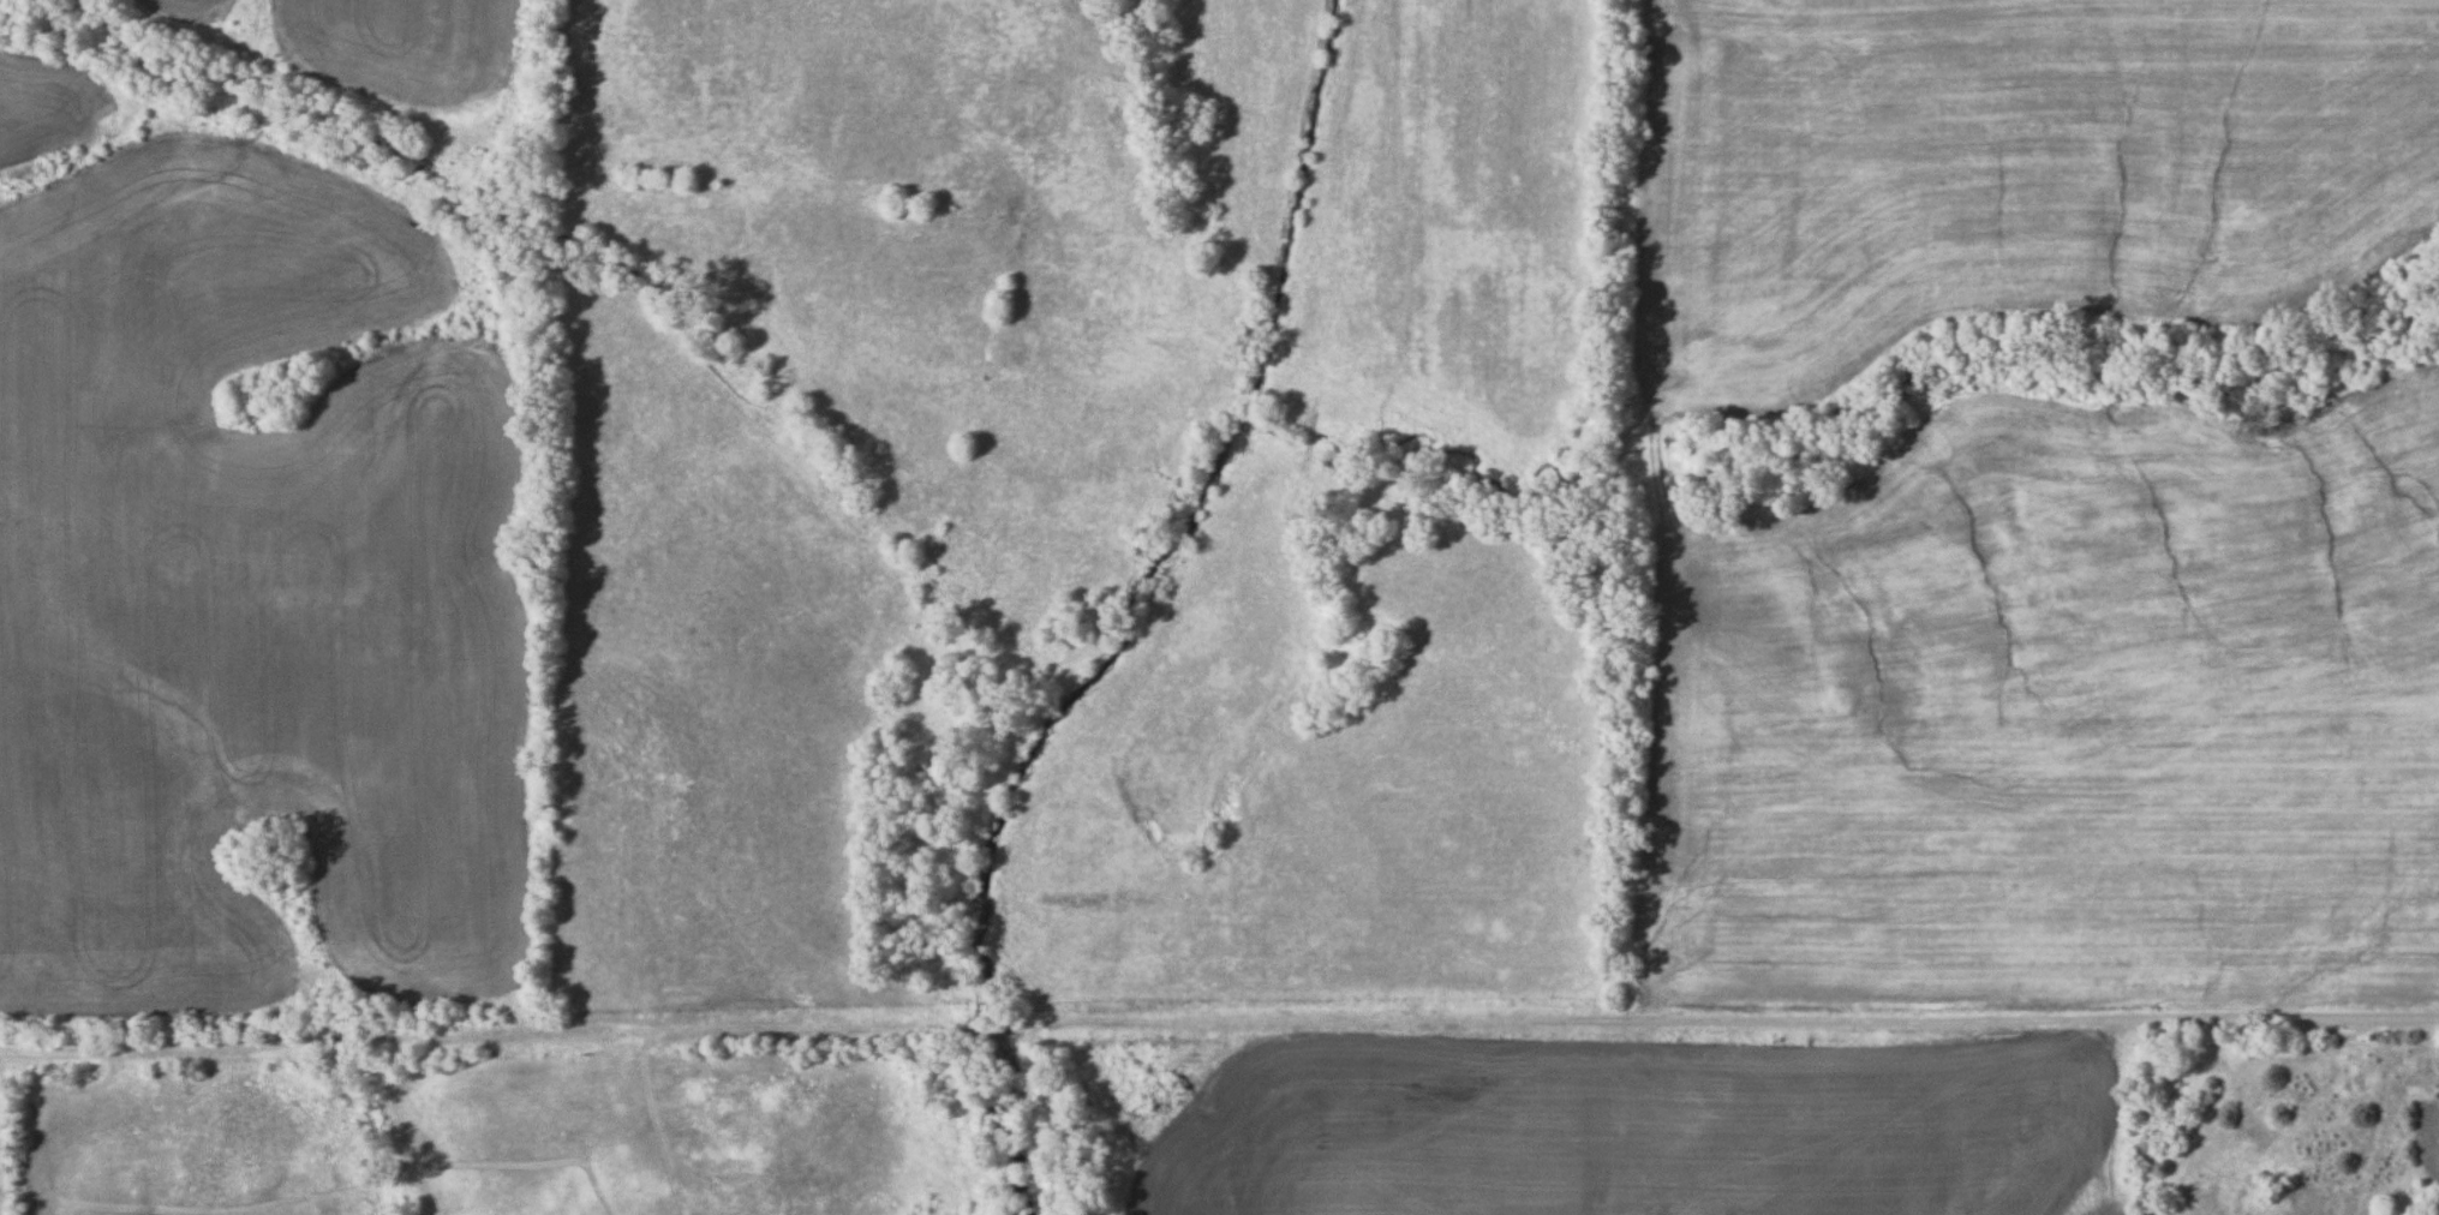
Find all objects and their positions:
road: (1219, 1024)

